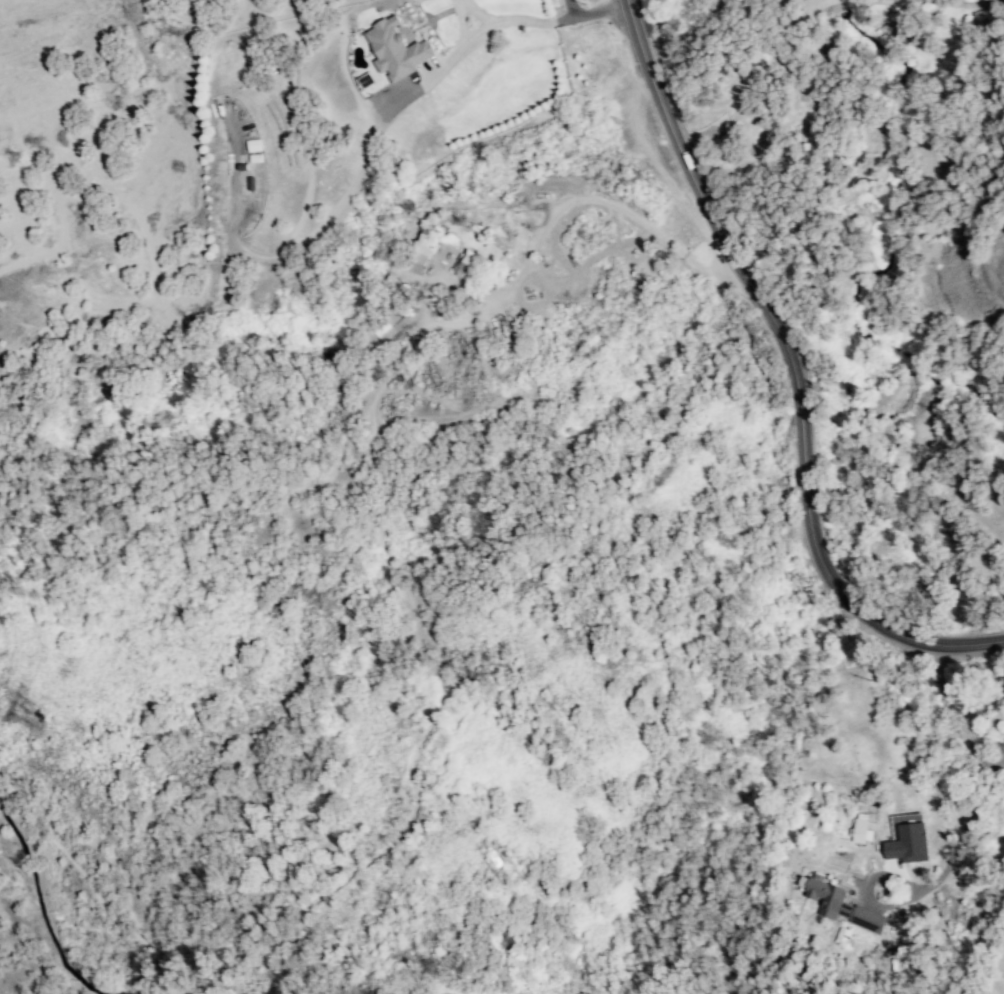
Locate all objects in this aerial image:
road: (957, 2)
road: (594, 12)
road: (495, 22)
building: (396, 50)
road: (762, 77)
road: (555, 209)
building: (419, 252)
building: (465, 265)
building: (384, 328)
road: (795, 374)
road: (952, 728)
building: (862, 830)
building: (908, 843)
road: (953, 850)
building: (839, 905)

